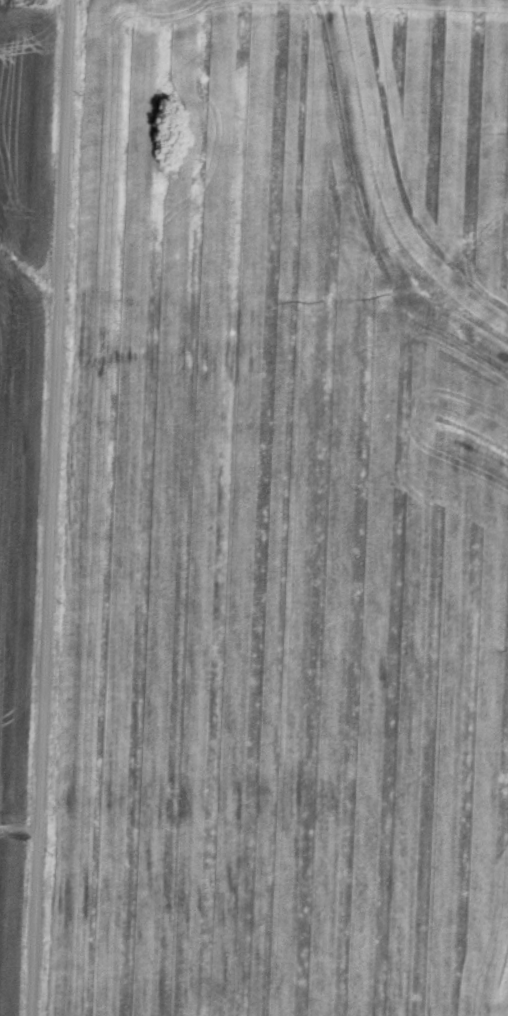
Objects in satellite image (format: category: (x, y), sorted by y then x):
road: (48, 507)

